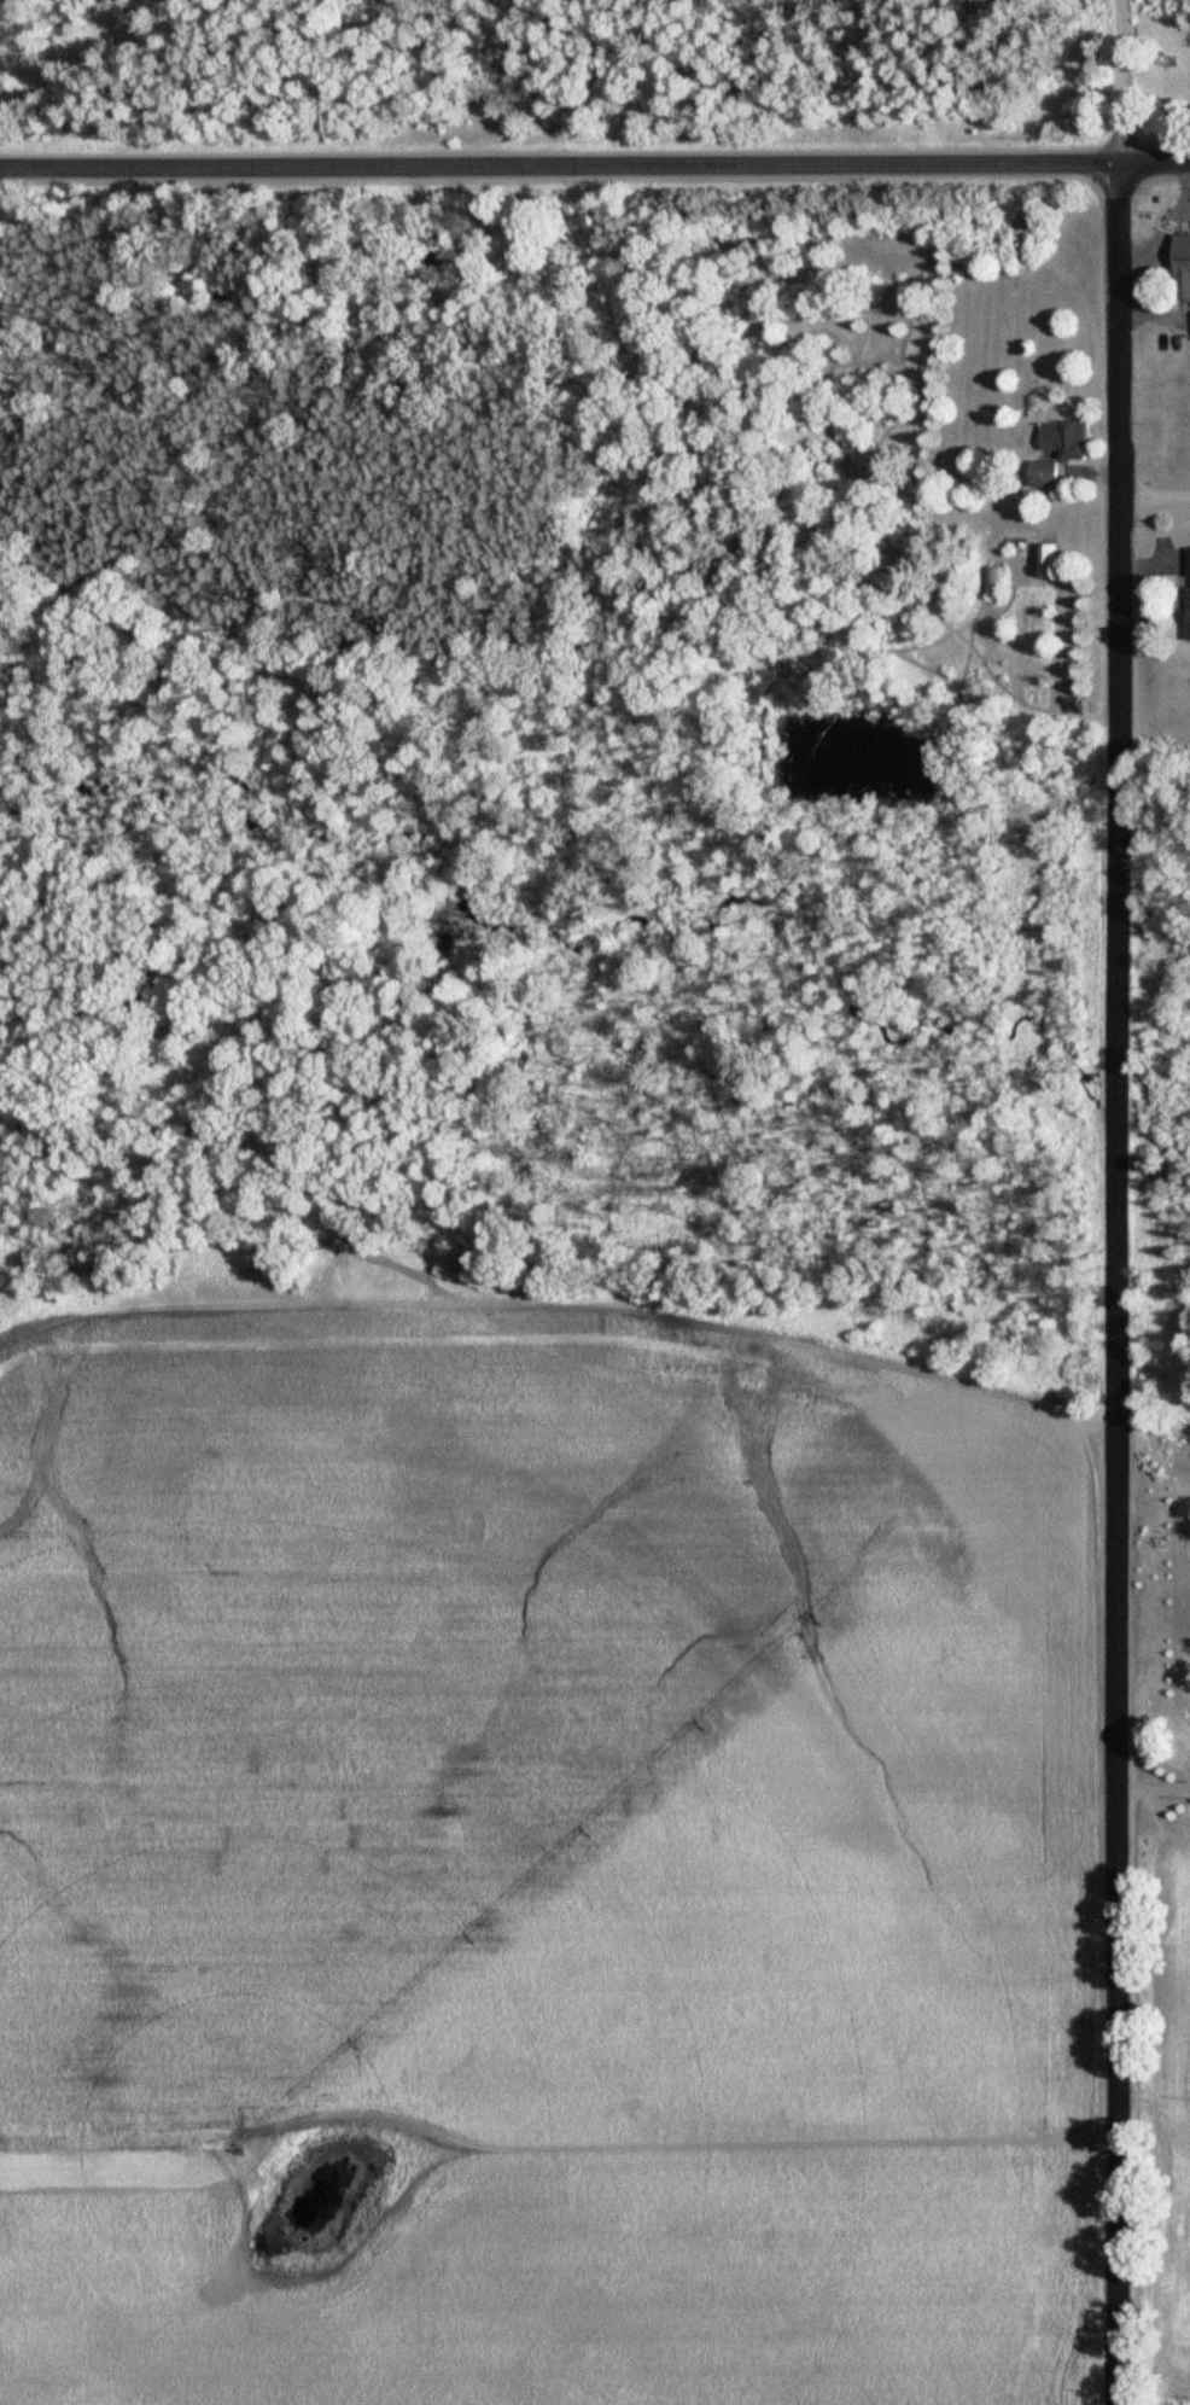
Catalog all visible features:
road: (594, 167)
building: (1182, 266)
building: (1063, 441)
building: (1043, 474)
road: (1154, 497)
building: (1045, 560)
building: (1185, 589)
road: (1118, 1201)

